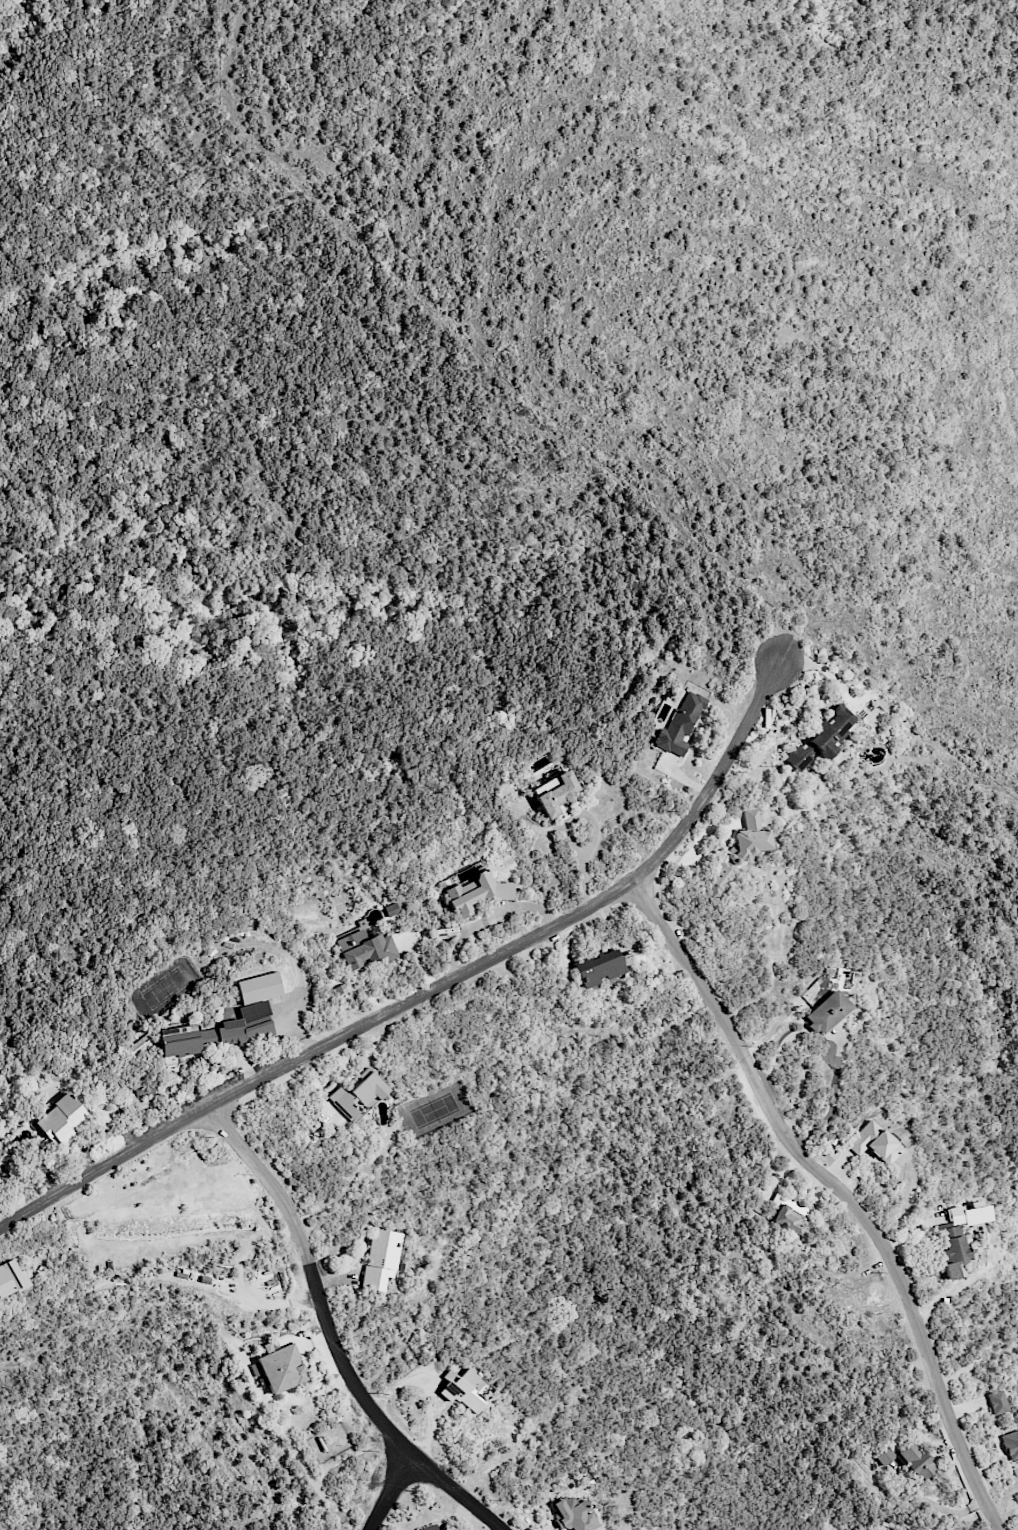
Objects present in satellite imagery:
building: (679, 725)
building: (823, 738)
building: (556, 794)
building: (738, 851)
road: (585, 867)
building: (477, 893)
building: (364, 949)
building: (598, 968)
building: (258, 988)
building: (339, 989)
road: (436, 989)
building: (826, 1012)
building: (239, 1028)
building: (179, 1041)
building: (140, 1045)
road: (775, 1054)
building: (357, 1096)
road: (833, 1099)
building: (61, 1120)
building: (874, 1143)
road: (841, 1192)
building: (788, 1213)
building: (958, 1237)
building: (379, 1259)
building: (11, 1278)
road: (330, 1336)
building: (279, 1368)
building: (465, 1389)
building: (996, 1402)
building: (1011, 1445)
building: (883, 1454)
building: (916, 1460)
road: (391, 1490)
building: (572, 1514)
building: (429, 1528)

